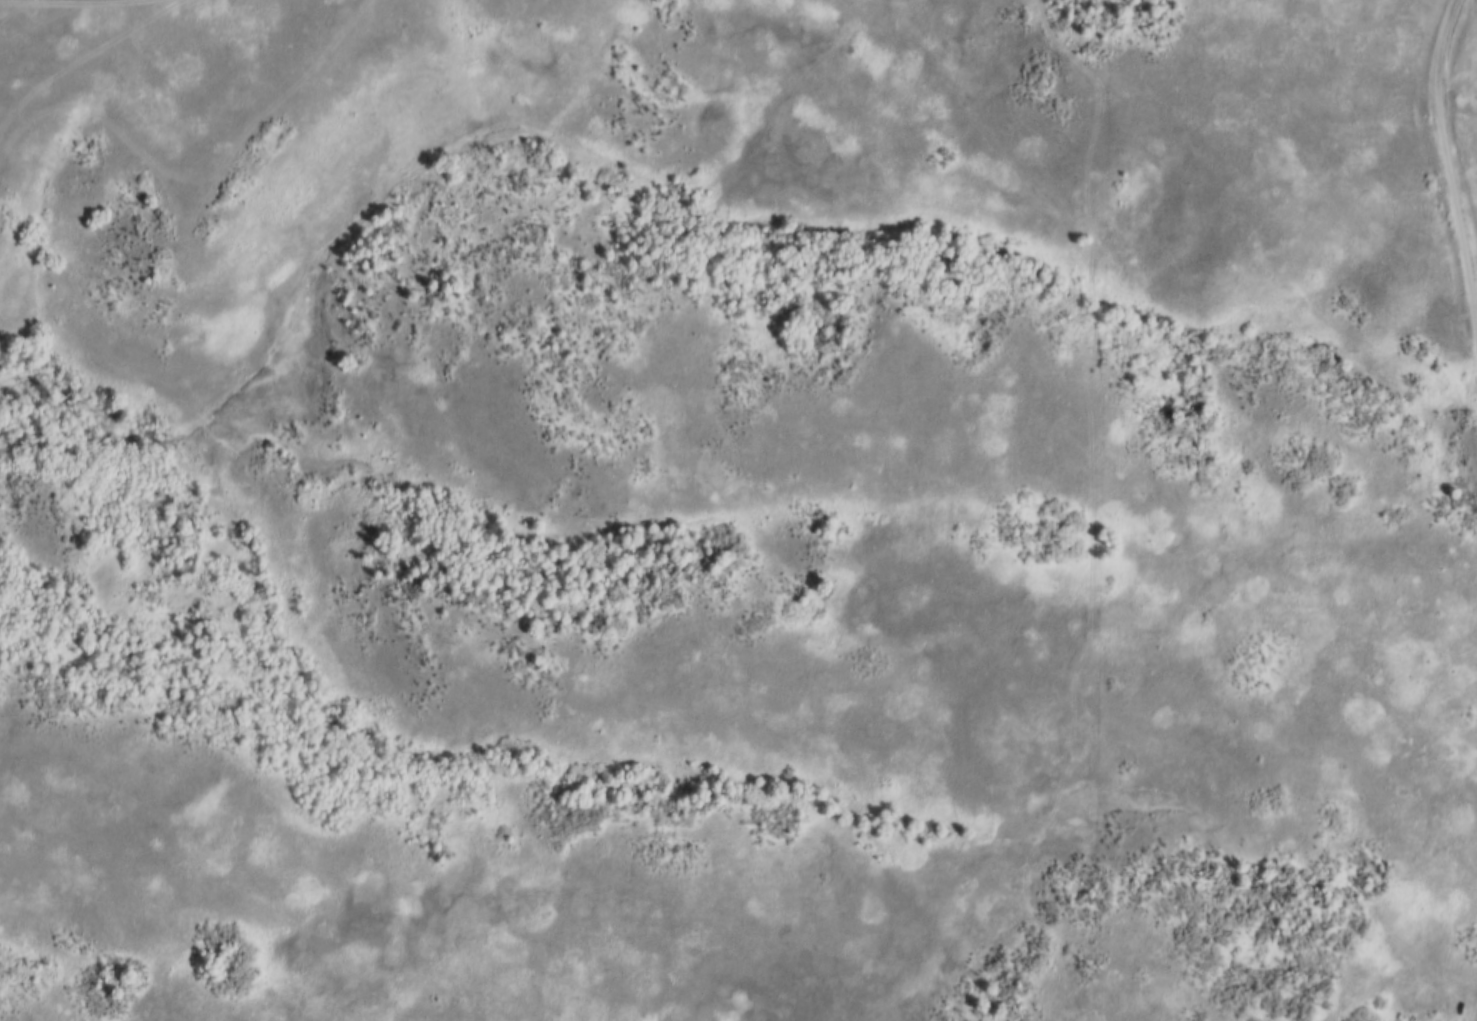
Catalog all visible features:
road: (1445, 152)

